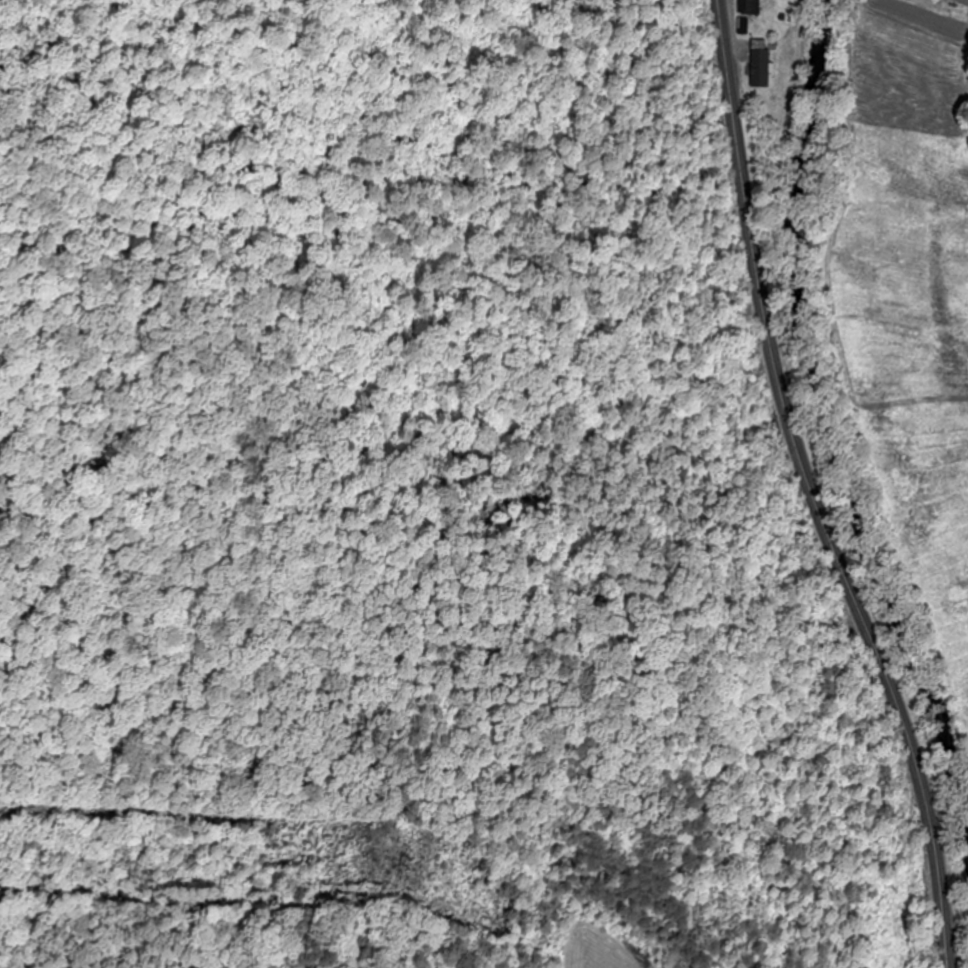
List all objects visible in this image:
building: (747, 8)
building: (757, 65)
river: (824, 419)
road: (810, 491)

